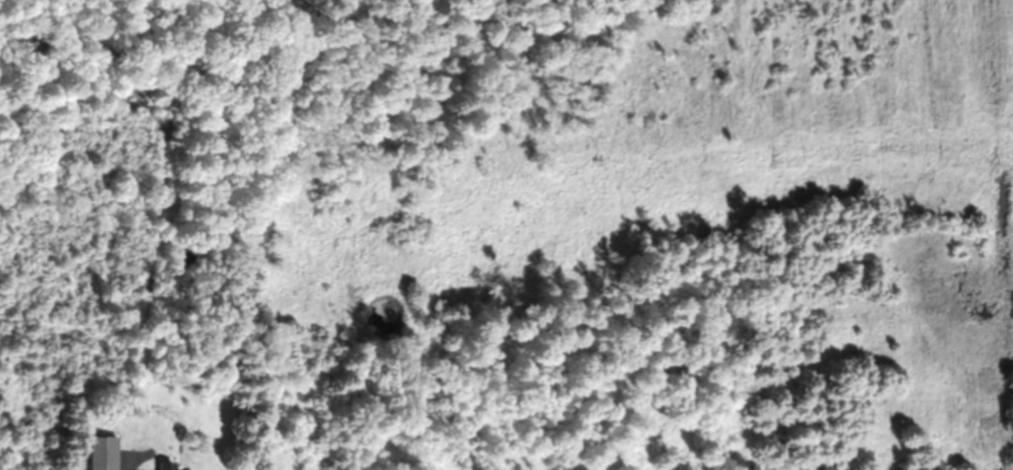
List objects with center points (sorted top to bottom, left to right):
building: (104, 452)
building: (166, 465)

